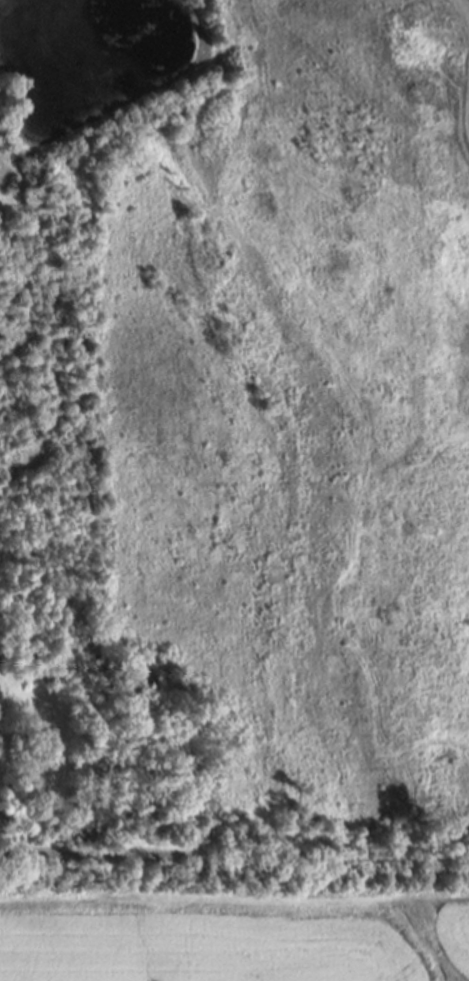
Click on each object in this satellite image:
road: (463, 6)
road: (98, 848)

